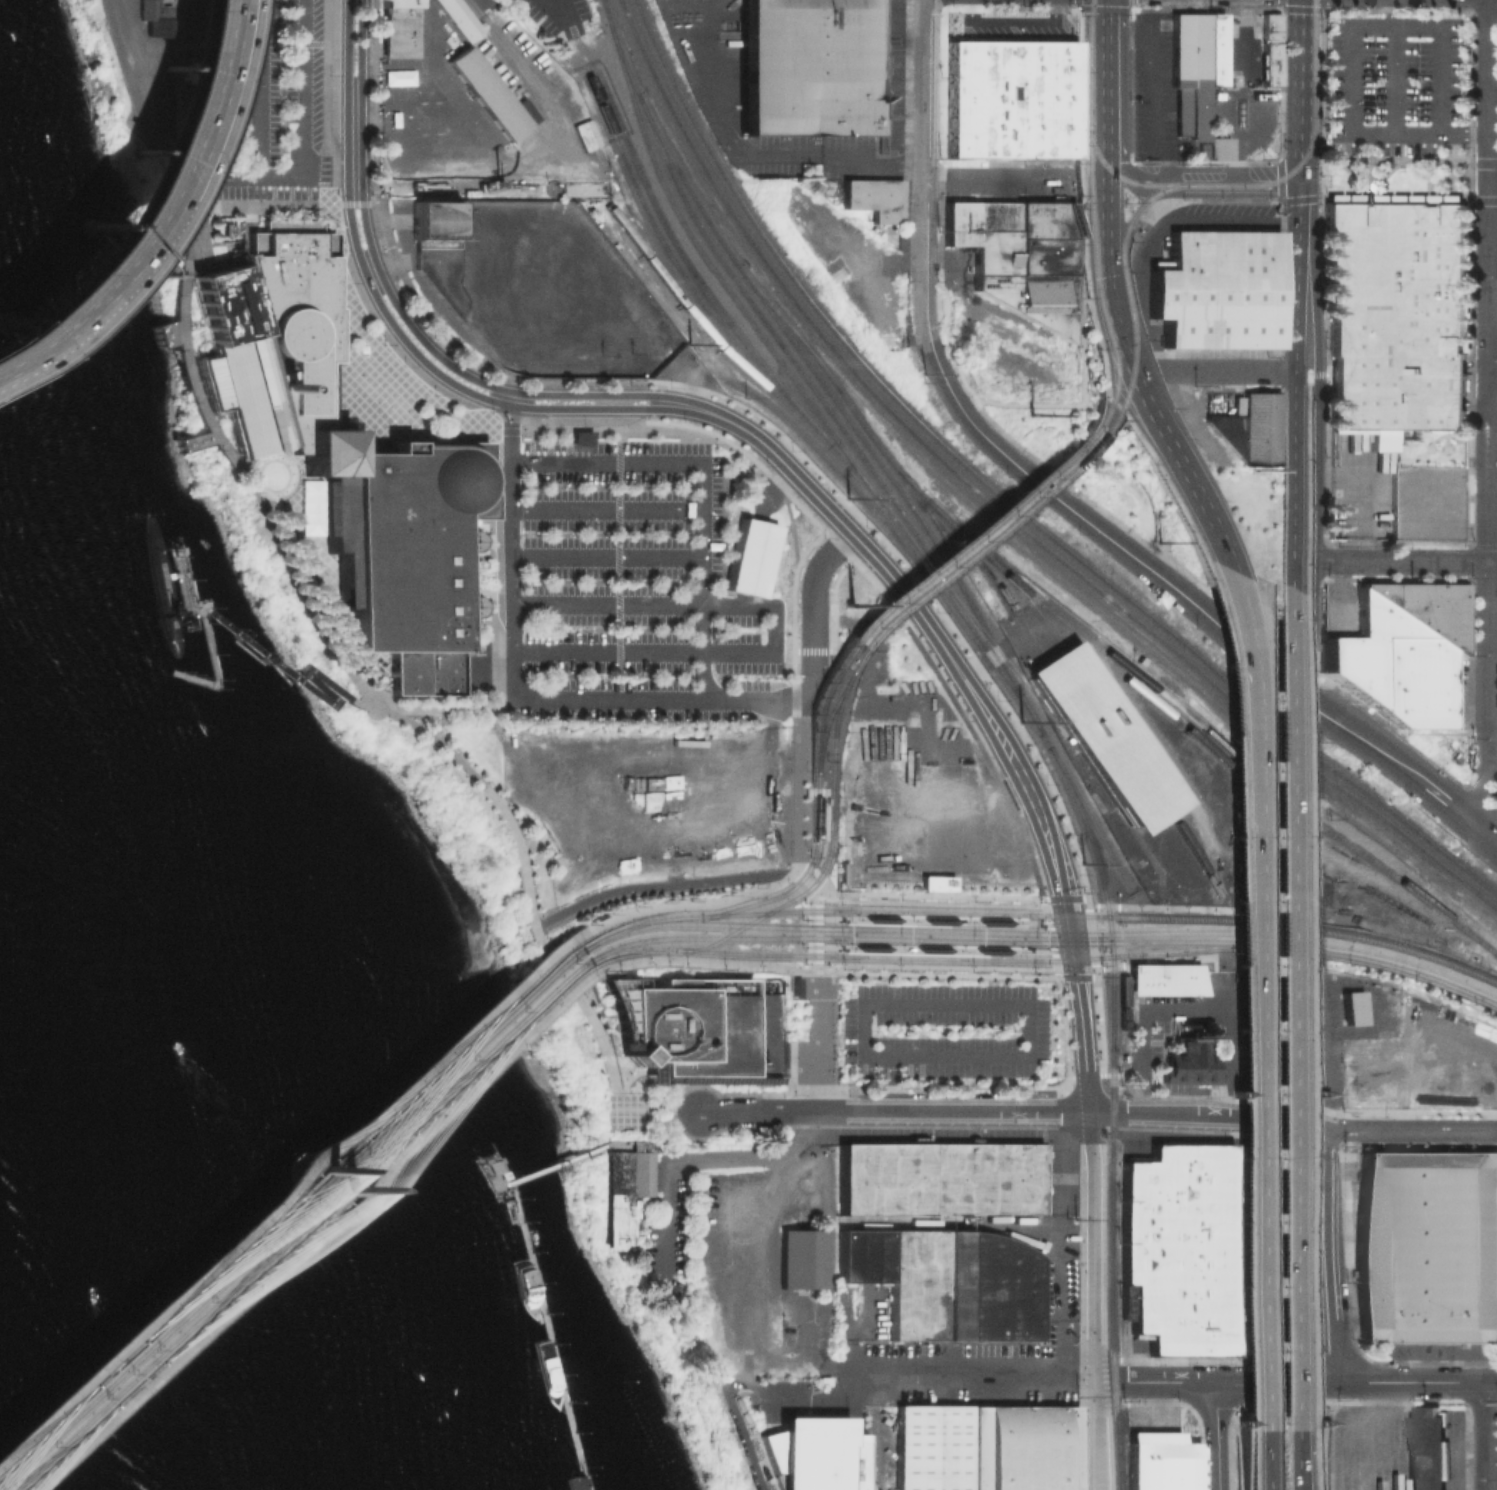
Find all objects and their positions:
road: (1077, 4)
road: (1321, 5)
road: (478, 8)
road: (1091, 8)
road: (1285, 8)
road: (1122, 9)
road: (1310, 9)
road: (558, 11)
building: (158, 17)
building: (459, 18)
parking lot: (550, 20)
building: (1269, 27)
building: (400, 28)
road: (277, 43)
parking lot: (708, 48)
building: (1212, 48)
road: (1350, 50)
railway: (1322, 52)
road: (1078, 62)
building: (1269, 64)
road: (1393, 66)
parking lot: (333, 67)
building: (1188, 67)
building: (810, 68)
road: (1104, 76)
road: (259, 87)
railway: (1088, 87)
road: (927, 90)
road: (1300, 90)
parking lot: (1392, 92)
road: (348, 93)
building: (493, 95)
parking lot: (255, 96)
building: (1011, 99)
road: (183, 101)
road: (1149, 104)
road: (1320, 104)
road: (305, 111)
road: (173, 114)
road: (207, 114)
road: (173, 117)
railway: (1076, 118)
road: (144, 130)
road: (1080, 139)
railway: (1310, 143)
building: (1216, 148)
road: (770, 155)
road: (528, 156)
road: (1396, 159)
road: (1481, 160)
road: (1103, 176)
railway: (1118, 176)
road: (1195, 180)
road: (998, 181)
traffic signals: (1299, 181)
road: (1493, 182)
road: (308, 190)
road: (933, 190)
railway: (1148, 196)
building: (874, 198)
road: (1308, 199)
road: (270, 205)
road: (132, 210)
road: (334, 218)
building: (433, 219)
road: (366, 230)
railway: (660, 240)
road: (861, 250)
building: (1020, 255)
railway: (691, 269)
road: (1313, 274)
road: (1296, 275)
road: (926, 278)
road: (1084, 278)
road: (959, 284)
road: (1107, 286)
power substation: (538, 287)
road: (65, 288)
building: (1216, 291)
road: (67, 292)
railway: (1102, 308)
building: (1396, 312)
parking lot: (374, 319)
road: (1079, 321)
power tower: (616, 323)
road: (391, 325)
road: (158, 332)
road: (1493, 333)
railway: (1132, 337)
road: (523, 340)
traffic signals: (1121, 343)
railway: (737, 364)
road: (1489, 366)
road: (184, 368)
railway: (797, 368)
road: (1227, 371)
road: (1313, 372)
road: (1493, 373)
road: (689, 375)
railway: (818, 379)
road: (1294, 382)
road: (1307, 384)
road: (587, 393)
road: (511, 399)
road: (1051, 402)
road: (1113, 405)
road: (586, 408)
parking lot: (589, 418)
building: (1253, 428)
road: (506, 429)
building: (579, 435)
road: (435, 441)
road: (177, 444)
road: (201, 445)
road: (767, 448)
building: (341, 452)
railway: (889, 460)
road: (1035, 460)
road: (284, 464)
road: (1181, 468)
park: (1095, 472)
road: (771, 474)
building: (1428, 483)
road: (704, 484)
road: (1164, 485)
road: (1293, 490)
road: (1305, 495)
railway: (1008, 498)
railway: (998, 506)
road: (606, 510)
building: (1405, 520)
building: (1447, 520)
road: (790, 525)
railway: (967, 535)
road: (1318, 538)
railway: (975, 541)
building: (463, 543)
parking lot: (494, 547)
road: (606, 556)
building: (749, 556)
road: (1407, 561)
road: (1467, 561)
road: (616, 563)
road: (1322, 569)
road: (488, 574)
pier: (176, 575)
park: (274, 576)
road: (1327, 577)
pier: (189, 585)
building: (167, 587)
road: (815, 587)
road: (1172, 587)
parking lot: (630, 588)
road: (1336, 592)
railway: (1025, 597)
road: (334, 599)
road: (606, 604)
building: (464, 605)
building: (1426, 606)
road: (1243, 618)
road: (773, 628)
road: (249, 642)
road: (1492, 642)
road: (1011, 644)
building: (1365, 644)
road: (803, 651)
road: (606, 652)
railway: (852, 658)
building: (1412, 663)
road: (216, 667)
road: (1313, 669)
road: (484, 673)
road: (1323, 674)
road: (308, 678)
road: (810, 684)
railway: (1017, 694)
road: (512, 699)
railway: (1158, 705)
building: (1415, 707)
road: (446, 708)
railway: (816, 708)
road: (797, 719)
railway: (822, 719)
road: (988, 719)
railway: (829, 727)
railway: (1115, 729)
railway: (1212, 732)
road: (1443, 732)
road: (1492, 732)
railway: (1096, 736)
building: (1104, 736)
road: (1468, 750)
road: (1492, 753)
road: (1259, 754)
road: (453, 764)
road: (1487, 781)
road: (1466, 785)
road: (478, 790)
road: (814, 792)
road: (799, 793)
railway: (822, 797)
road: (1482, 799)
road: (1455, 806)
railway: (829, 809)
railway: (815, 810)
railway: (1089, 817)
road: (822, 831)
railway: (822, 834)
road: (1491, 834)
railway: (1196, 852)
road: (1152, 856)
road: (816, 873)
building: (934, 883)
road: (660, 886)
road: (927, 893)
railway: (778, 894)
road: (1163, 894)
road: (1043, 897)
road: (1083, 897)
road: (1063, 898)
road: (1042, 899)
road: (937, 902)
road: (683, 904)
traffic signals: (1061, 905)
road: (1088, 905)
road: (1105, 905)
road: (1087, 906)
road: (1175, 907)
railway: (772, 908)
street lamp: (1139, 909)
road: (1045, 910)
street lamp: (1186, 911)
railway: (1106, 915)
road: (813, 917)
railway: (885, 919)
road: (930, 920)
railway: (641, 922)
road: (1048, 923)
road: (1089, 935)
road: (1051, 936)
traffic signals: (1067, 936)
railway: (633, 947)
road: (933, 948)
railway: (986, 949)
road: (1053, 950)
railway: (1093, 956)
street lamp: (1184, 956)
street lamp: (1139, 959)
road: (1192, 959)
road: (704, 961)
road: (1055, 962)
street lamp: (1353, 962)
road: (1094, 965)
road: (1111, 965)
road: (959, 966)
traffic signals: (1072, 967)
road: (1094, 967)
road: (830, 969)
road: (934, 974)
road: (1056, 974)
road: (1092, 975)
road: (1058, 976)
road: (1075, 976)
street lamp: (1413, 978)
building: (1169, 982)
building: (1183, 982)
building: (1198, 983)
building: (1137, 987)
road: (1245, 991)
road: (1262, 995)
building: (1356, 1007)
road: (1297, 1008)
road: (1310, 1010)
road: (1139, 1016)
parking lot: (1274, 1016)
road: (1080, 1023)
road: (1099, 1024)
building: (686, 1028)
parking lot: (1033, 1029)
railway: (1112, 1035)
road: (813, 1041)
road: (766, 1049)
road: (1028, 1056)
road: (617, 1059)
building: (1191, 1061)
road: (1084, 1075)
road: (1068, 1076)
road: (624, 1081)
road: (880, 1083)
road: (890, 1083)
road: (711, 1089)
road: (1061, 1089)
road: (1229, 1090)
road: (1270, 1092)
road: (1303, 1092)
road: (1153, 1095)
road: (948, 1100)
road: (1089, 1100)
road: (1229, 1103)
road: (654, 1104)
road: (826, 1105)
road: (1064, 1109)
road: (752, 1110)
road: (1413, 1110)
road: (614, 1111)
road: (949, 1111)
road: (827, 1114)
road: (1211, 1114)
road: (951, 1118)
road: (655, 1119)
road: (1091, 1119)
road: (1213, 1122)
road: (1059, 1125)
road: (1414, 1129)
road: (1317, 1132)
road: (656, 1133)
road: (1265, 1134)
road: (618, 1143)
road: (640, 1145)
road: (665, 1149)
building: (492, 1156)
road: (761, 1156)
building: (497, 1166)
building: (913, 1178)
building: (1014, 1179)
building: (622, 1189)
road: (1092, 1196)
road: (285, 1197)
road: (662, 1210)
railway: (290, 1216)
building: (1023, 1218)
railway: (299, 1223)
road: (747, 1227)
parking lot: (667, 1228)
road: (316, 1229)
building: (1429, 1246)
building: (1183, 1248)
river: (116, 1253)
road: (1332, 1255)
building: (803, 1259)
parking lot: (760, 1266)
pier: (534, 1273)
building: (944, 1281)
road: (1357, 1318)
road: (1093, 1332)
pier: (553, 1348)
road: (1366, 1355)
road: (1360, 1376)
road: (975, 1380)
road: (1212, 1381)
road: (1415, 1382)
road: (1496, 1397)
road: (815, 1398)
road: (1356, 1399)
road: (1481, 1400)
road: (1214, 1401)
road: (1183, 1402)
road: (1354, 1402)
road: (1247, 1403)
road: (1465, 1403)
road: (1197, 1414)
road: (732, 1415)
road: (1325, 1415)
road: (1320, 1418)
road: (1242, 1421)
road: (1247, 1425)
road: (873, 1433)
road: (1093, 1435)
road: (1221, 1435)
road: (1484, 1436)
road: (1333, 1446)
building: (930, 1447)
building: (1021, 1447)
building: (1429, 1450)
building: (820, 1454)
road: (1254, 1459)
road: (1269, 1459)
road: (1300, 1459)
road: (1314, 1459)
road: (1320, 1459)
road: (1326, 1459)
road: (1246, 1460)
building: (1160, 1462)
road: (1243, 1462)

